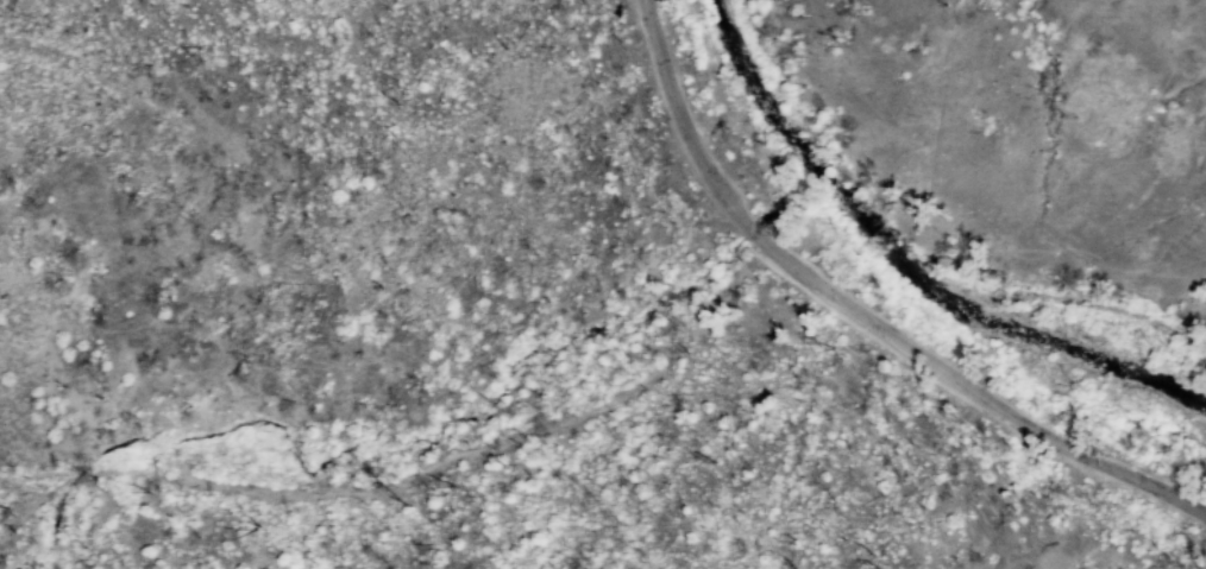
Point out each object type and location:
road: (681, 120)
road: (759, 236)
road: (978, 396)
road: (413, 479)

